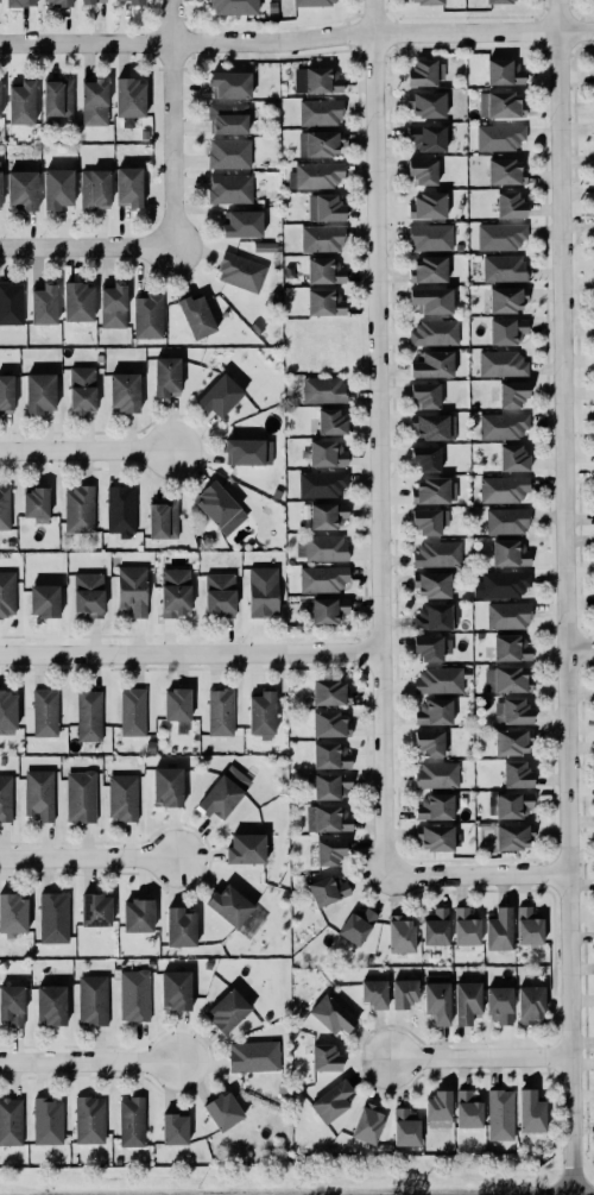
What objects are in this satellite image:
building: (87, 1)
building: (128, 1)
building: (425, 1)
building: (498, 1)
building: (20, 2)
building: (56, 2)
building: (312, 2)
building: (233, 7)
road: (435, 32)
road: (138, 42)
building: (504, 70)
building: (425, 71)
building: (322, 80)
building: (230, 84)
building: (0, 89)
building: (56, 98)
building: (129, 98)
building: (94, 101)
building: (21, 102)
building: (425, 103)
building: (499, 105)
building: (320, 112)
building: (228, 118)
road: (170, 124)
building: (428, 137)
building: (499, 137)
building: (317, 144)
building: (228, 153)
building: (422, 170)
building: (504, 171)
building: (316, 175)
building: (128, 187)
building: (57, 188)
building: (94, 188)
building: (229, 188)
building: (21, 189)
building: (0, 193)
building: (428, 205)
building: (510, 205)
building: (324, 207)
building: (241, 224)
building: (500, 235)
building: (430, 237)
building: (321, 238)
building: (264, 246)
road: (84, 250)
building: (503, 268)
building: (428, 269)
building: (240, 271)
building: (323, 271)
building: (506, 298)
building: (431, 300)
building: (77, 301)
building: (11, 302)
building: (323, 302)
building: (43, 303)
building: (113, 304)
building: (195, 315)
building: (147, 316)
building: (506, 329)
building: (435, 332)
building: (501, 363)
building: (432, 364)
building: (165, 375)
building: (81, 389)
building: (124, 391)
building: (39, 392)
building: (6, 394)
building: (424, 394)
building: (512, 394)
building: (220, 395)
building: (330, 421)
building: (503, 424)
building: (432, 426)
road: (377, 436)
road: (89, 447)
building: (247, 451)
building: (327, 453)
building: (425, 458)
building: (512, 458)
building: (321, 484)
building: (503, 489)
building: (434, 490)
building: (34, 502)
building: (5, 507)
building: (219, 507)
building: (78, 509)
building: (120, 509)
building: (327, 515)
building: (162, 518)
building: (428, 521)
building: (506, 521)
building: (321, 547)
building: (436, 553)
building: (508, 553)
building: (322, 578)
building: (431, 584)
building: (501, 584)
building: (132, 589)
building: (175, 591)
building: (263, 591)
building: (7, 593)
building: (88, 593)
building: (219, 595)
road: (564, 597)
building: (44, 599)
building: (328, 610)
building: (507, 615)
building: (435, 616)
road: (580, 647)
building: (431, 648)
building: (510, 648)
road: (190, 654)
building: (438, 679)
building: (506, 679)
building: (329, 692)
building: (176, 704)
building: (7, 709)
building: (44, 711)
building: (132, 711)
building: (220, 711)
building: (432, 711)
building: (512, 711)
building: (261, 712)
building: (89, 715)
building: (329, 723)
building: (512, 741)
building: (428, 742)
building: (330, 755)
building: (436, 774)
building: (516, 774)
building: (166, 786)
building: (330, 786)
building: (222, 792)
building: (38, 793)
building: (80, 795)
building: (5, 797)
building: (122, 797)
building: (508, 804)
building: (435, 806)
building: (328, 818)
building: (512, 836)
building: (436, 837)
building: (245, 848)
building: (326, 853)
road: (91, 858)
road: (474, 874)
building: (327, 888)
building: (229, 905)
building: (95, 910)
building: (13, 913)
building: (137, 914)
building: (52, 917)
building: (355, 925)
building: (527, 925)
building: (179, 926)
building: (435, 926)
building: (465, 926)
building: (498, 929)
building: (400, 933)
building: (175, 989)
building: (403, 992)
building: (373, 993)
building: (133, 994)
building: (436, 998)
building: (91, 1000)
building: (466, 1001)
building: (11, 1004)
building: (499, 1004)
building: (529, 1004)
building: (50, 1005)
building: (227, 1011)
building: (330, 1014)
building: (253, 1056)
building: (324, 1057)
road: (478, 1057)
road: (93, 1063)
building: (330, 1101)
building: (437, 1108)
building: (468, 1109)
building: (222, 1111)
building: (530, 1111)
building: (500, 1114)
building: (10, 1120)
building: (48, 1120)
building: (89, 1120)
building: (131, 1121)
building: (367, 1122)
building: (405, 1126)
building: (175, 1128)

